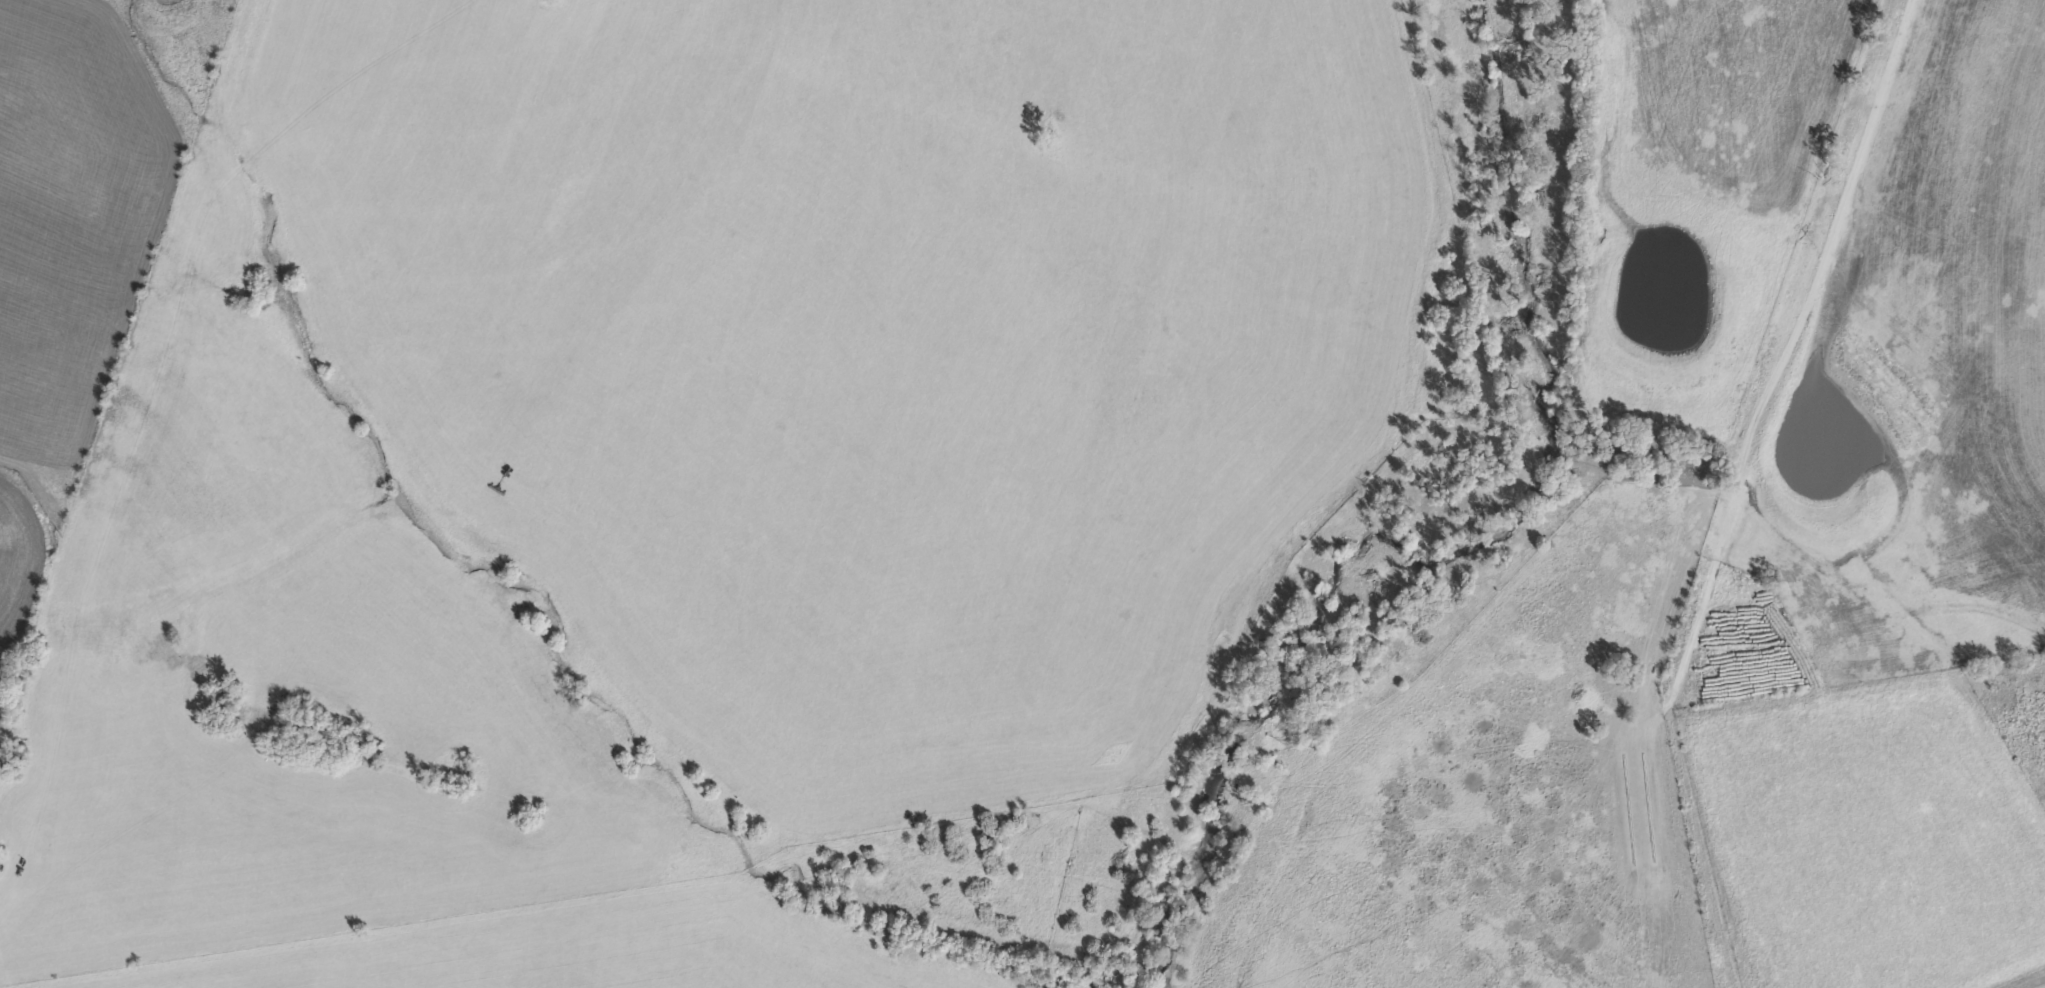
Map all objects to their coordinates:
road: (1743, 489)

